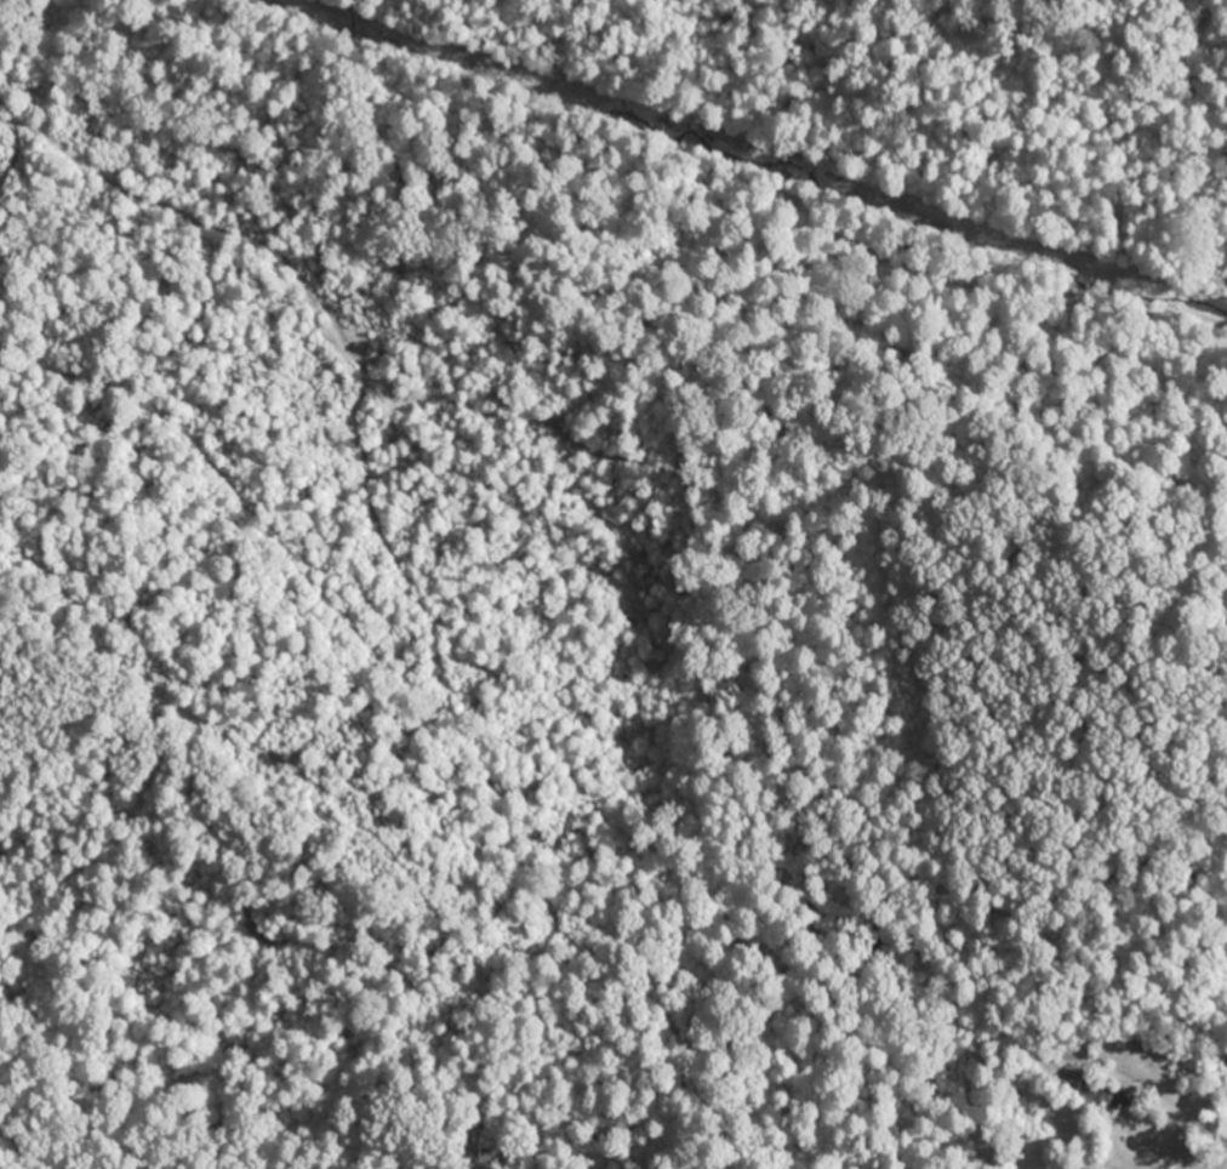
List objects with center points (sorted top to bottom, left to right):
road: (986, 1162)
road: (1090, 1162)

